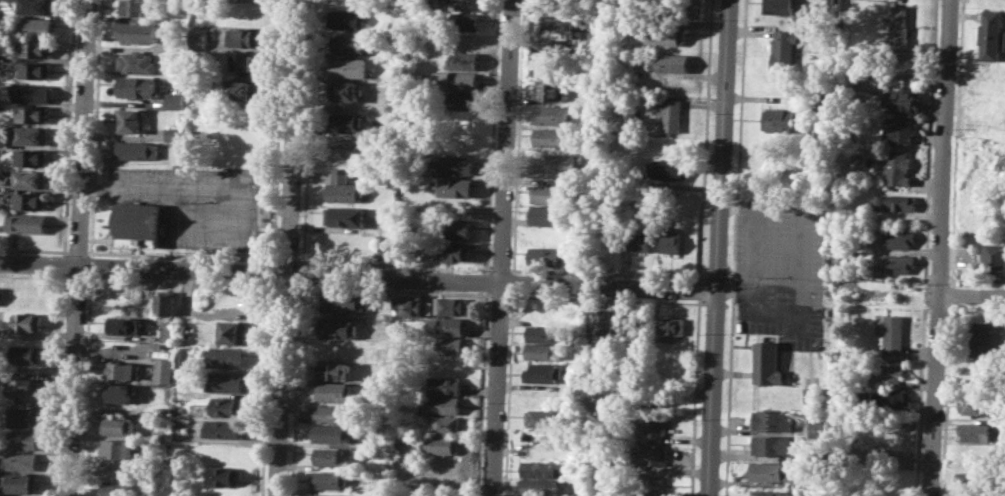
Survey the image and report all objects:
building: (37, 6)
building: (832, 6)
building: (136, 7)
building: (780, 7)
building: (243, 13)
building: (347, 19)
building: (462, 21)
building: (560, 26)
building: (34, 27)
building: (901, 30)
building: (140, 32)
building: (664, 34)
building: (991, 34)
building: (241, 37)
building: (349, 44)
building: (786, 48)
building: (36, 49)
building: (462, 60)
building: (670, 61)
building: (137, 63)
building: (243, 63)
building: (348, 67)
building: (36, 70)
building: (851, 75)
building: (456, 80)
building: (138, 86)
building: (240, 89)
building: (346, 90)
building: (31, 92)
building: (549, 92)
building: (459, 100)
building: (903, 100)
building: (174, 101)
building: (828, 105)
building: (33, 113)
building: (672, 113)
building: (552, 114)
building: (782, 118)
building: (130, 119)
building: (458, 120)
building: (346, 123)
building: (900, 128)
building: (174, 133)
building: (31, 134)
building: (552, 136)
building: (458, 142)
road: (724, 145)
road: (944, 146)
building: (347, 147)
building: (136, 149)
building: (33, 157)
building: (178, 159)
building: (557, 161)
building: (457, 164)
building: (899, 167)
building: (667, 168)
building: (31, 178)
building: (343, 187)
building: (457, 187)
building: (550, 194)
building: (31, 201)
building: (896, 202)
parking lot: (192, 203)
building: (549, 214)
building: (345, 216)
building: (28, 223)
building: (137, 224)
building: (456, 230)
building: (899, 237)
building: (643, 240)
building: (672, 242)
road: (77, 247)
road: (286, 247)
road: (503, 247)
building: (387, 248)
road: (757, 248)
building: (453, 252)
building: (547, 256)
building: (994, 257)
building: (899, 263)
building: (873, 270)
road: (359, 278)
building: (2, 294)
road: (971, 294)
building: (342, 301)
building: (166, 303)
building: (449, 305)
building: (409, 306)
building: (27, 321)
building: (632, 323)
building: (124, 325)
building: (671, 325)
building: (447, 326)
building: (603, 326)
building: (337, 327)
building: (234, 331)
building: (170, 332)
building: (542, 332)
building: (892, 335)
building: (983, 338)
building: (449, 345)
building: (541, 351)
building: (26, 353)
building: (230, 357)
building: (768, 364)
building: (446, 365)
building: (336, 369)
building: (123, 370)
building: (166, 371)
building: (544, 371)
building: (886, 374)
building: (228, 382)
building: (445, 384)
building: (27, 387)
building: (335, 390)
building: (120, 392)
road: (716, 394)
building: (812, 394)
road: (933, 394)
building: (887, 397)
building: (653, 402)
building: (442, 404)
building: (978, 405)
building: (228, 406)
building: (335, 413)
building: (24, 417)
building: (545, 417)
building: (774, 420)
building: (445, 423)
building: (119, 425)
building: (819, 427)
building: (224, 428)
building: (977, 431)
building: (652, 432)
building: (335, 433)
building: (23, 439)
building: (442, 444)
building: (775, 446)
building: (118, 448)
building: (894, 449)
building: (333, 456)
building: (650, 456)
building: (21, 460)
building: (540, 468)
building: (118, 470)
building: (772, 471)
building: (226, 475)
building: (331, 479)
building: (978, 479)
building: (22, 482)
building: (652, 483)
building: (538, 486)
building: (117, 489)
building: (774, 493)
building: (329, 494)
building: (160, 495)

